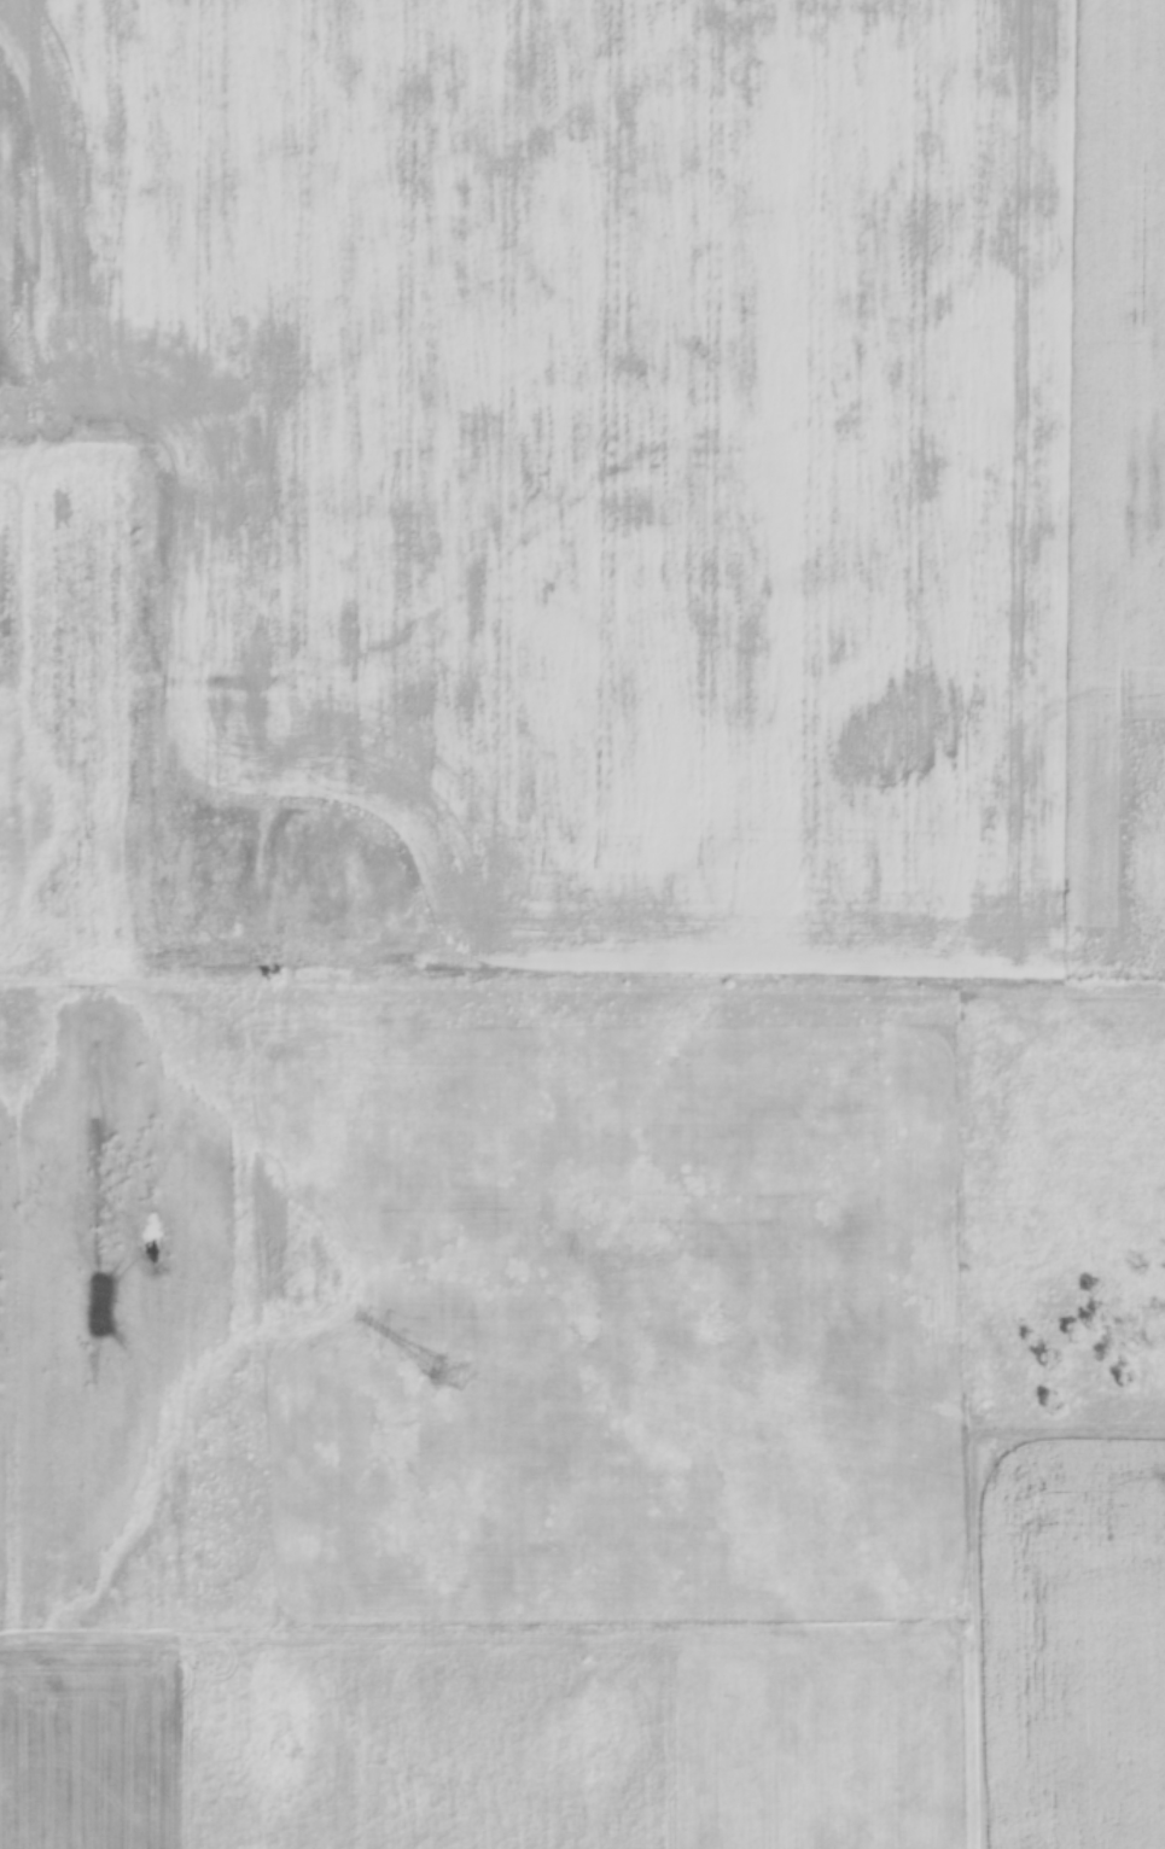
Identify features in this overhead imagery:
road: (1102, 1191)
power tower: (442, 1352)

